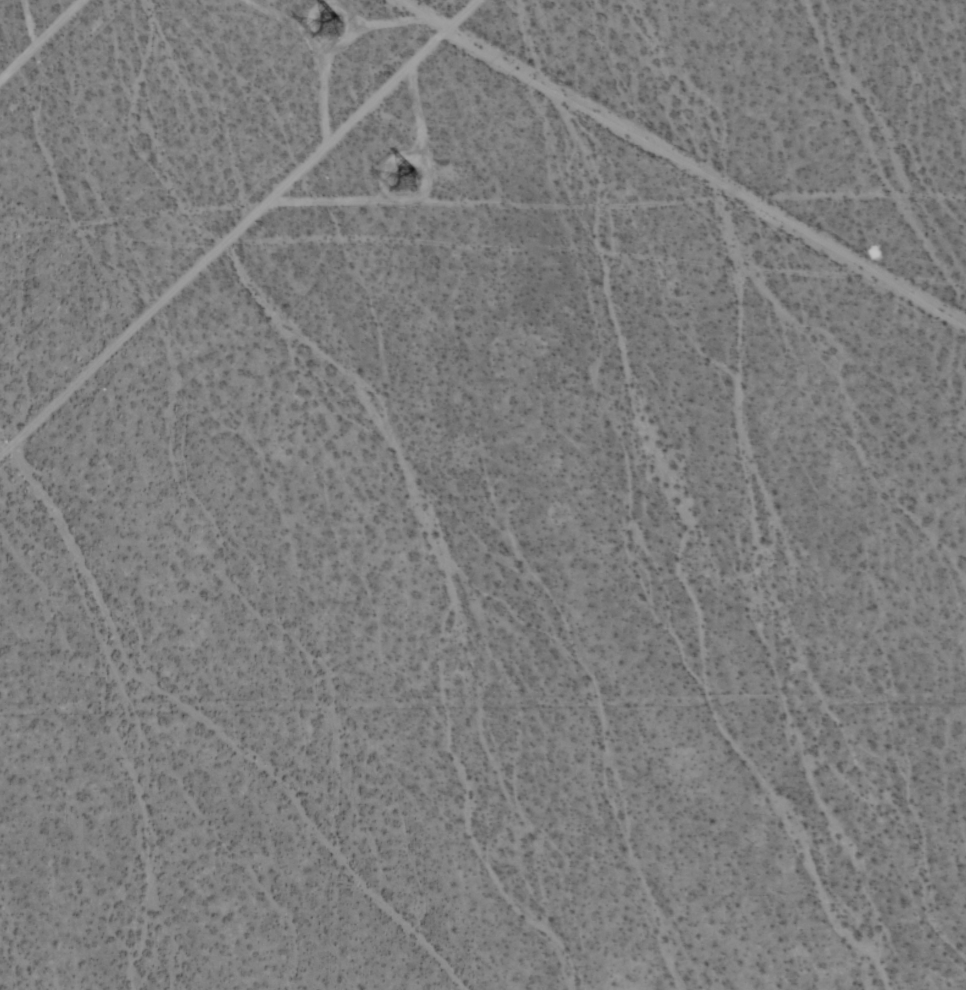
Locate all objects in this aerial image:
power tower: (334, 29)
road: (41, 40)
road: (314, 58)
road: (681, 165)
power tower: (408, 178)
road: (241, 230)

